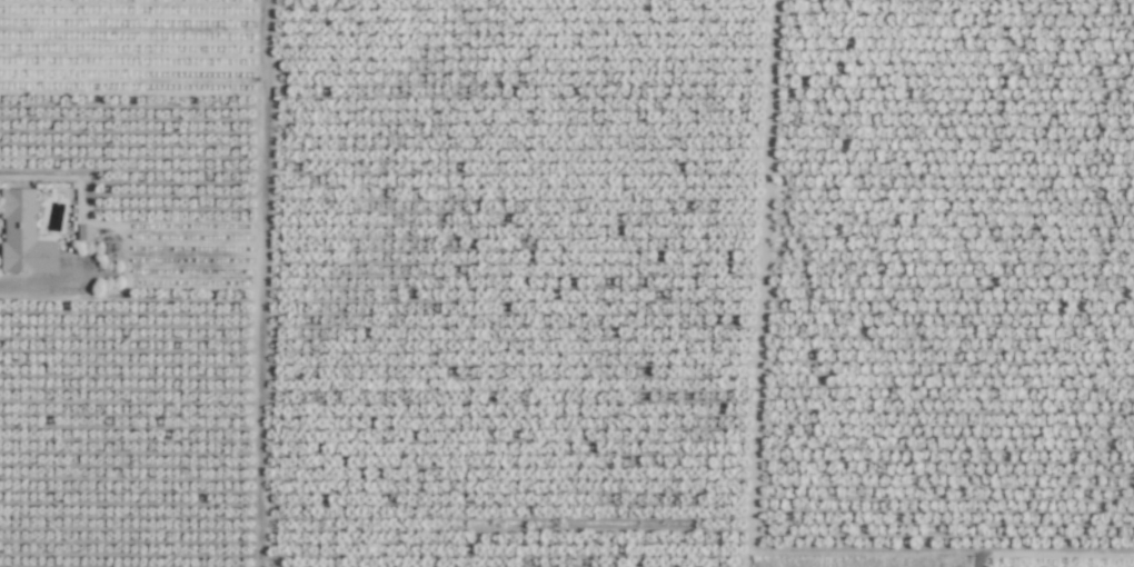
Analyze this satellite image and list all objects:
building: (21, 236)

